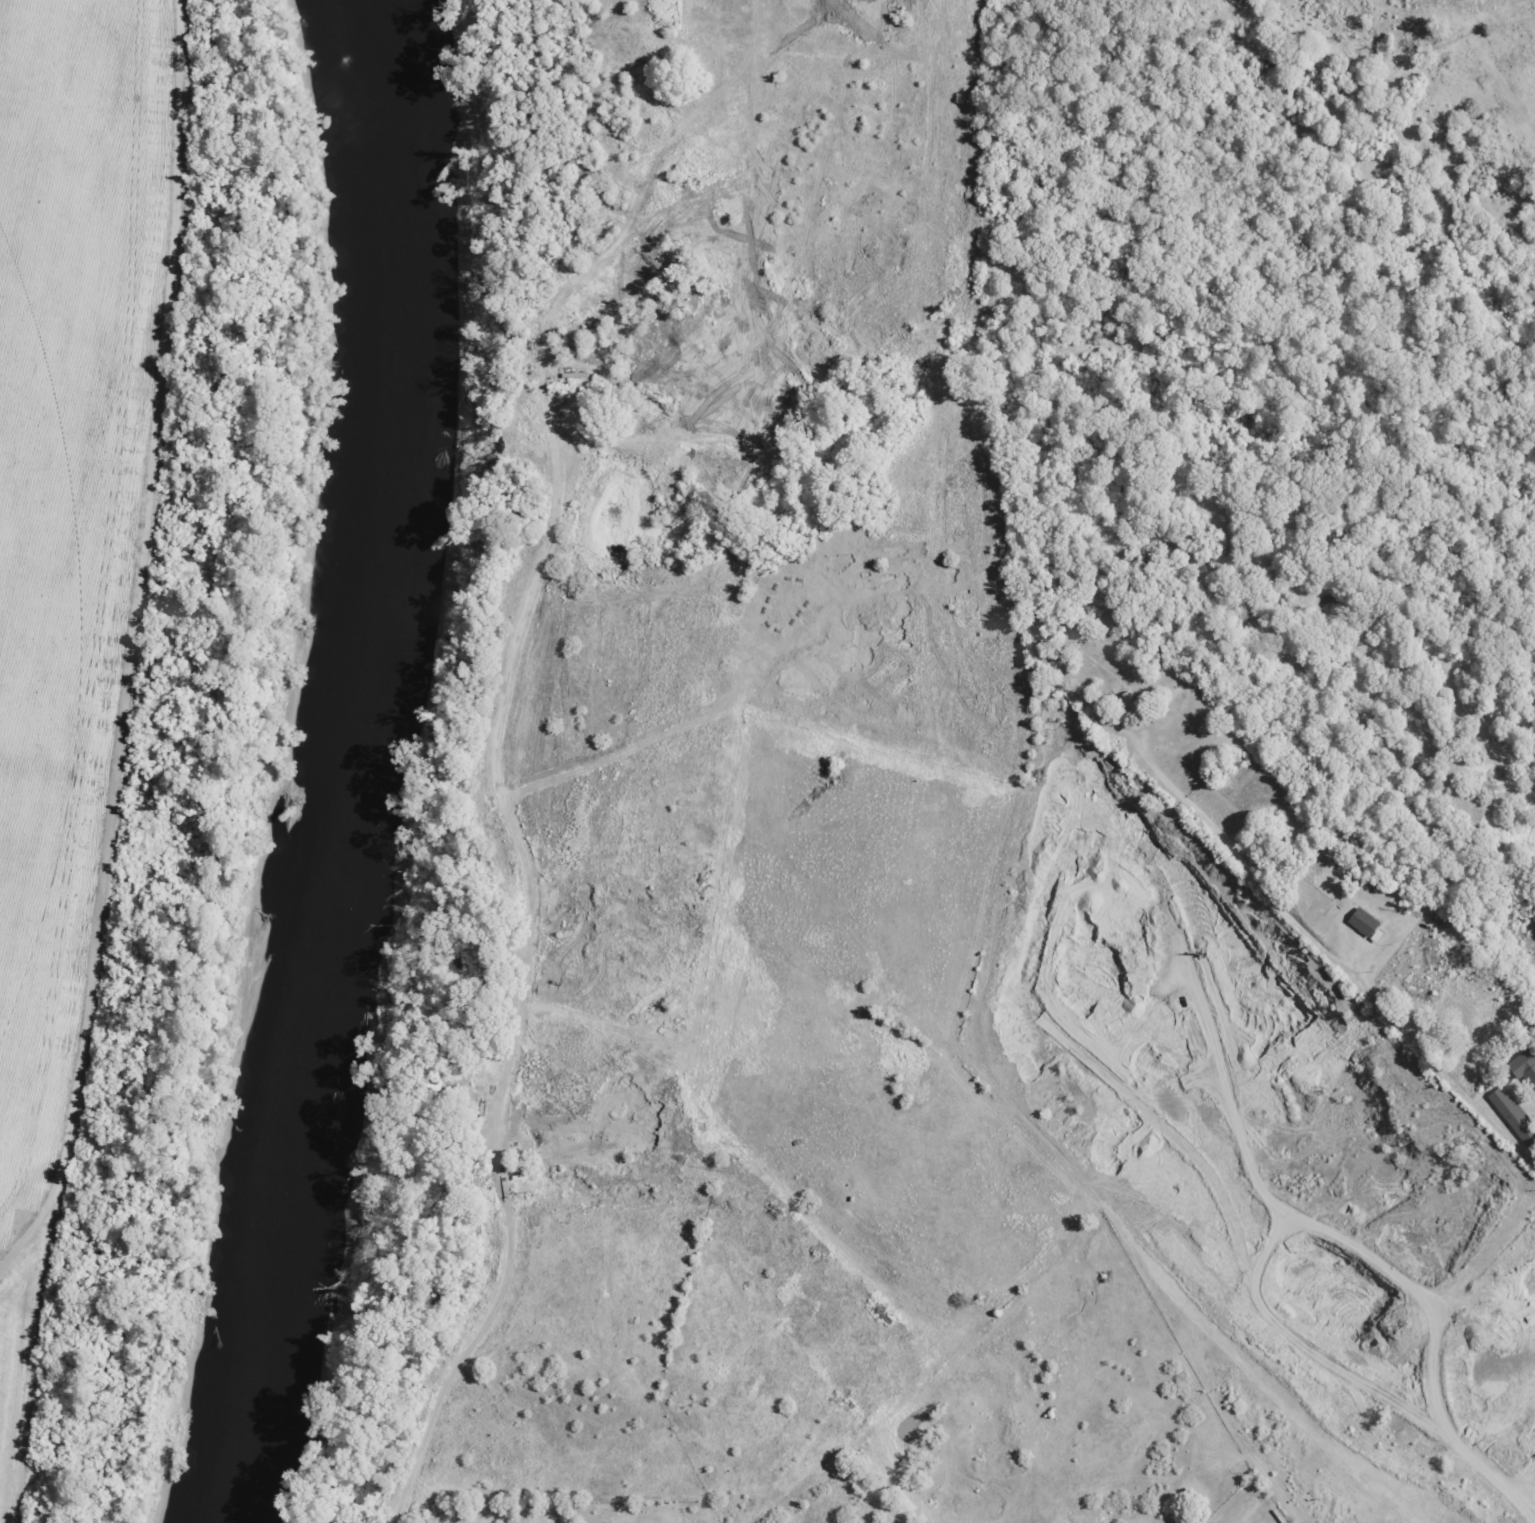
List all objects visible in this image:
road: (130, 642)
river: (333, 761)
building: (1366, 923)
road: (1315, 946)
building: (1524, 1066)
building: (1512, 1115)

